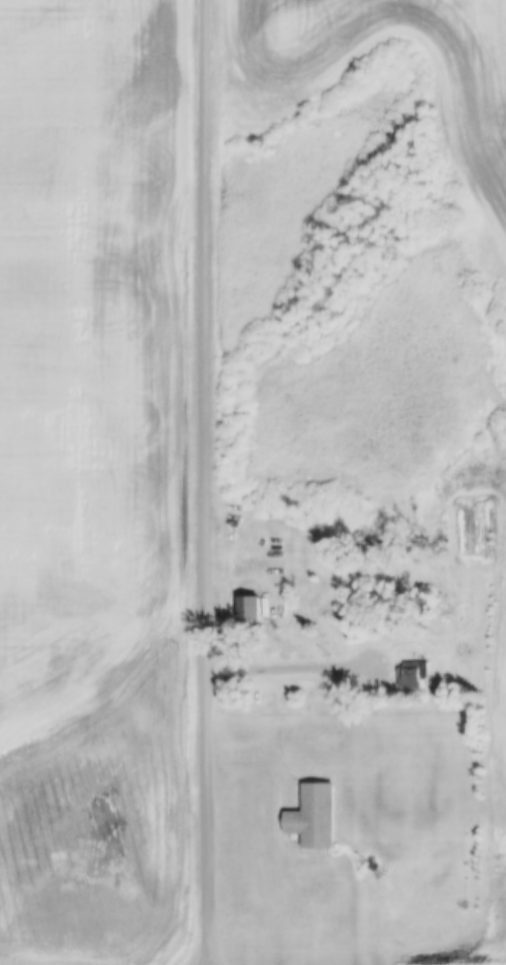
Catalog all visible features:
road: (203, 482)
building: (248, 609)
road: (297, 664)
building: (313, 816)
road: (270, 819)

